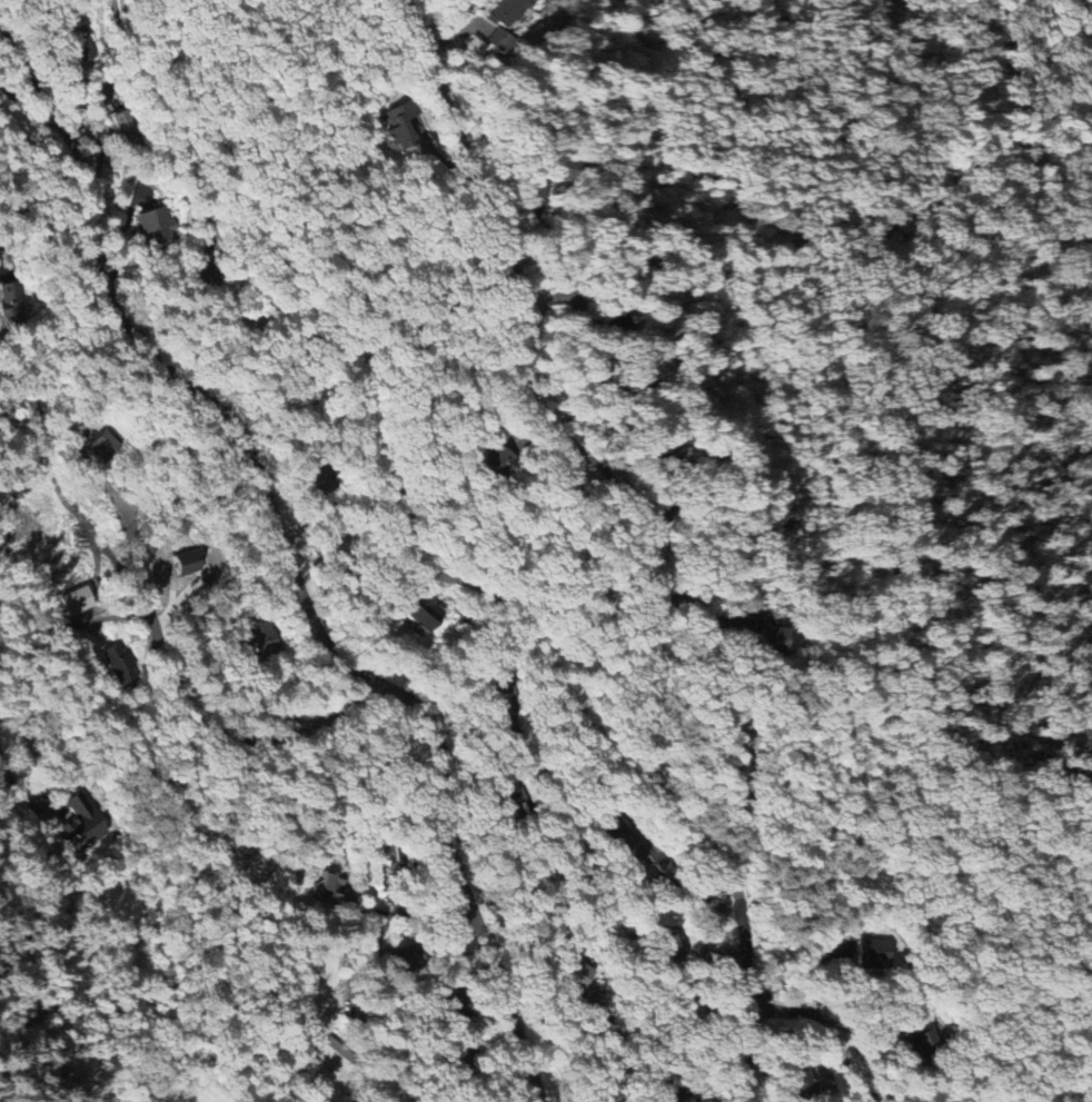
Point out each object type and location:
building: (507, 11)
building: (498, 40)
building: (80, 44)
building: (400, 126)
building: (125, 129)
building: (153, 226)
building: (11, 302)
building: (613, 326)
road: (364, 410)
building: (101, 447)
building: (668, 448)
building: (496, 460)
road: (652, 534)
road: (290, 558)
building: (78, 602)
building: (420, 612)
building: (753, 634)
building: (262, 638)
building: (119, 665)
road: (183, 695)
road: (16, 784)
building: (81, 824)
building: (624, 842)
building: (330, 885)
road: (642, 909)
road: (409, 912)
building: (666, 951)
building: (872, 954)
building: (401, 959)
road: (826, 1027)
building: (334, 1058)
road: (689, 1058)
building: (802, 1086)
building: (678, 1098)
building: (105, 1101)

